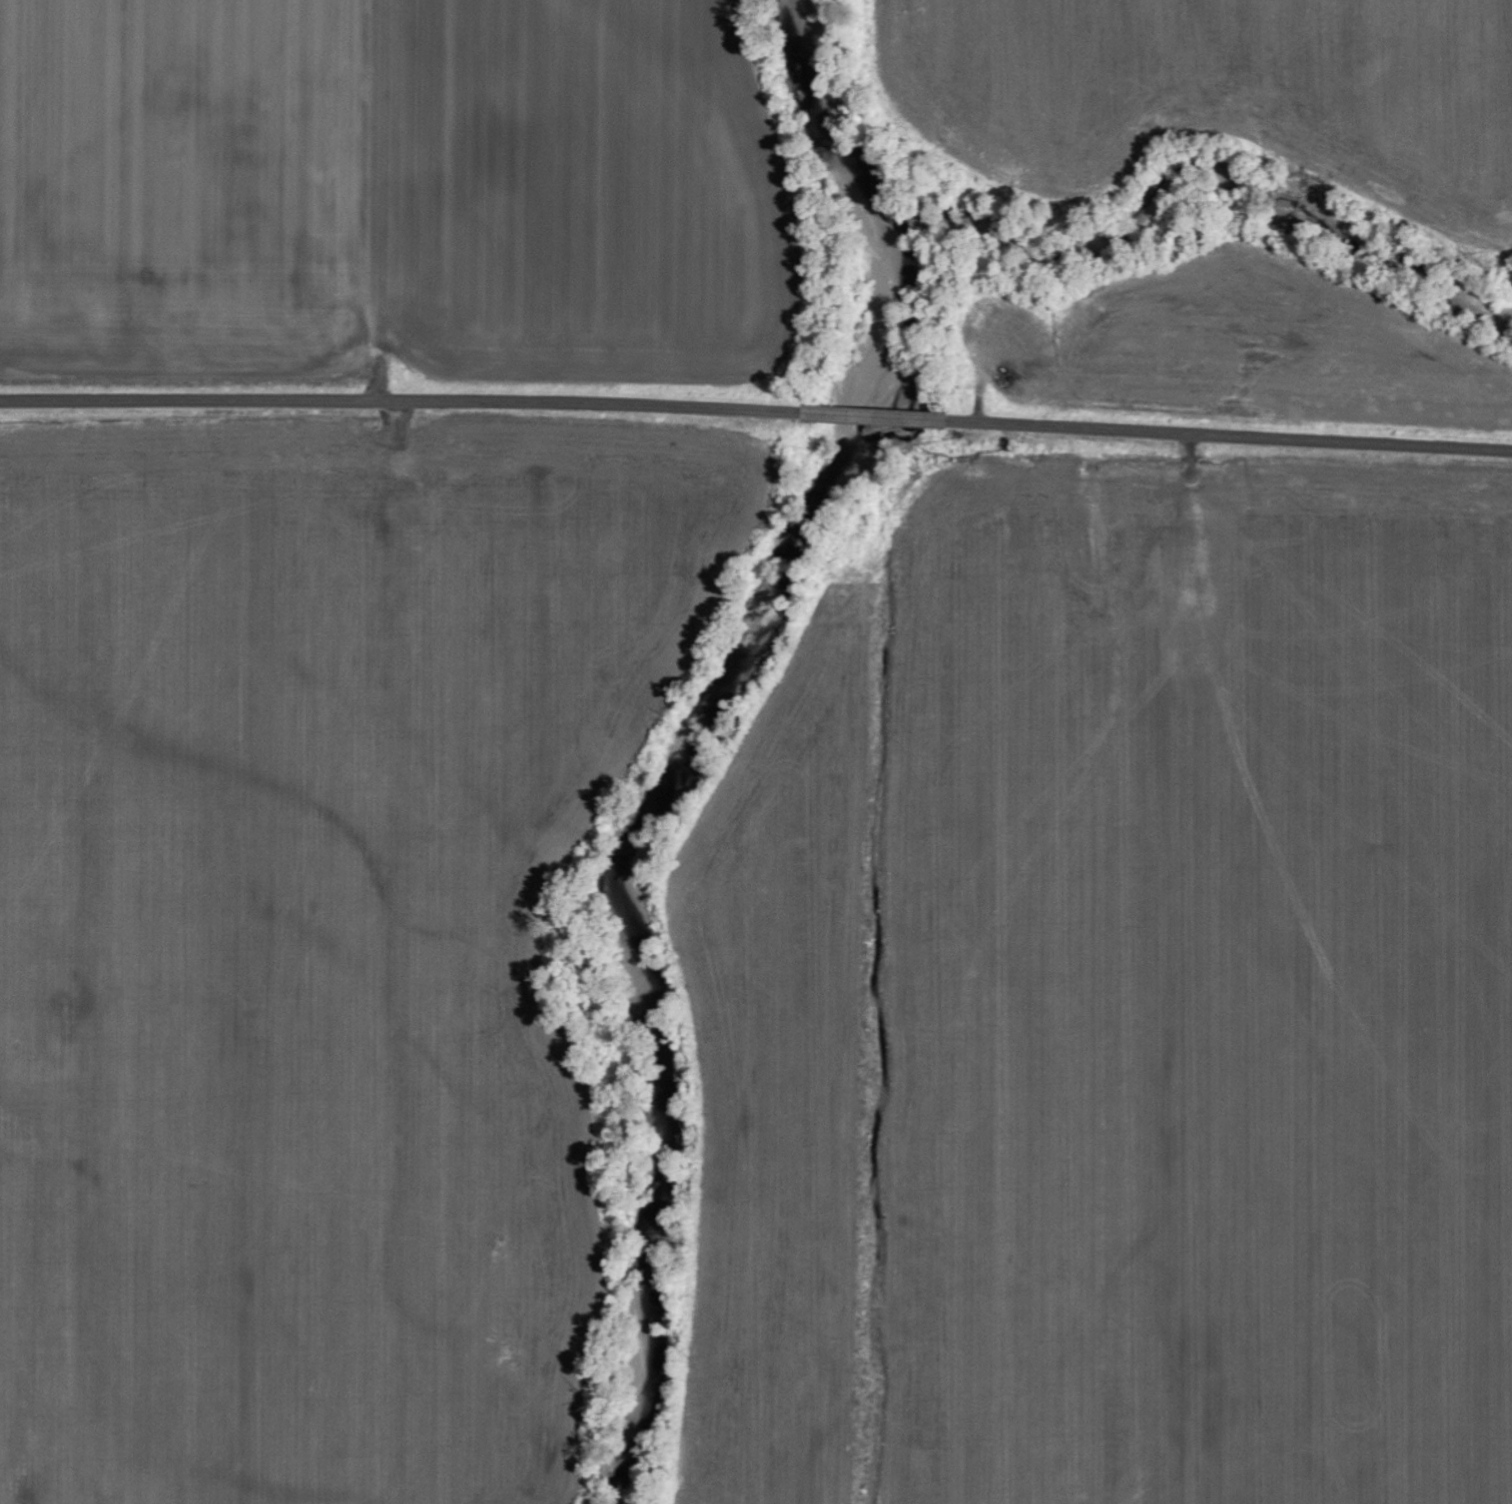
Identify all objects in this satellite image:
road: (401, 402)
road: (874, 417)
road: (1229, 435)

